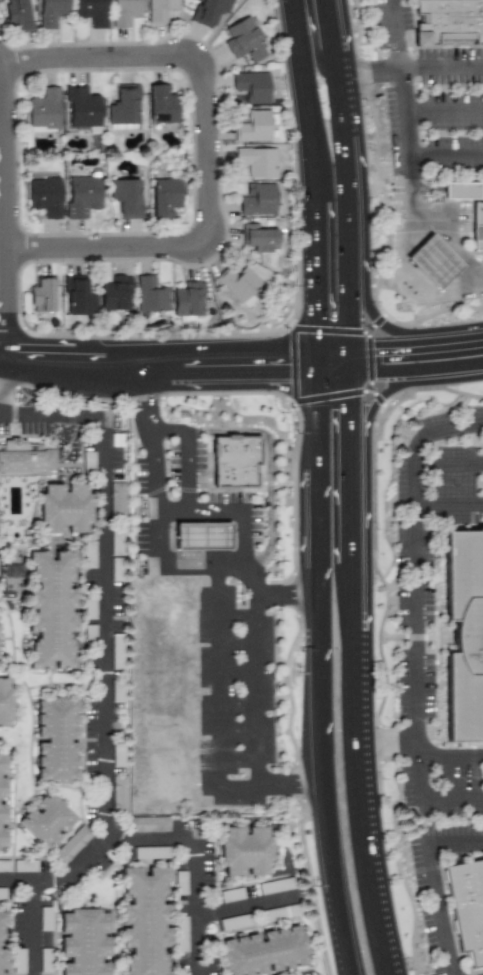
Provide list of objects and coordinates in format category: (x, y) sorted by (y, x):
street lamp: (275, 2)
building: (161, 9)
building: (209, 10)
building: (52, 12)
building: (92, 12)
building: (125, 12)
building: (17, 14)
building: (449, 20)
building: (245, 40)
street lamp: (77, 42)
road: (314, 48)
road: (400, 61)
road: (442, 68)
street lamp: (174, 73)
road: (1, 74)
building: (251, 85)
street lamp: (21, 91)
street lamp: (366, 102)
building: (161, 104)
building: (81, 107)
building: (124, 107)
building: (44, 109)
road: (445, 112)
building: (254, 125)
street lamp: (226, 145)
road: (209, 150)
road: (447, 156)
building: (256, 160)
street lamp: (292, 162)
road: (413, 189)
building: (464, 189)
road: (447, 191)
building: (84, 194)
building: (45, 195)
building: (126, 195)
building: (165, 196)
building: (258, 199)
road: (7, 210)
building: (478, 224)
road: (411, 229)
street lamp: (182, 231)
street lamp: (375, 234)
building: (262, 235)
road: (4, 249)
building: (434, 260)
road: (433, 262)
street lamp: (65, 264)
road: (415, 274)
building: (240, 283)
road: (464, 285)
building: (116, 293)
building: (150, 293)
building: (42, 294)
building: (77, 296)
road: (307, 296)
building: (188, 300)
road: (381, 314)
traffic signals: (307, 315)
street lamp: (442, 323)
street lamp: (288, 328)
street lamp: (370, 331)
street lamp: (139, 336)
road: (421, 347)
traffic signals: (380, 353)
traffic signals: (283, 363)
road: (180, 364)
road: (421, 371)
street lamp: (371, 389)
street lamp: (189, 398)
road: (386, 399)
street lamp: (23, 405)
street lamp: (77, 405)
traffic signals: (363, 407)
street lamp: (294, 408)
road: (1, 411)
road: (435, 430)
street lamp: (96, 437)
street lamp: (43, 440)
road: (189, 456)
building: (89, 460)
building: (29, 462)
building: (237, 463)
road: (271, 463)
road: (447, 464)
road: (413, 484)
road: (363, 488)
building: (118, 501)
building: (71, 508)
road: (227, 513)
road: (156, 514)
street lamp: (381, 531)
building: (205, 537)
gas station: (205, 537)
building: (89, 554)
building: (117, 555)
building: (13, 571)
road: (415, 589)
road: (282, 594)
building: (90, 606)
building: (57, 612)
building: (90, 633)
building: (1, 637)
building: (462, 637)
building: (118, 651)
road: (103, 662)
street lamp: (295, 674)
building: (118, 690)
building: (9, 704)
building: (63, 740)
road: (392, 745)
building: (118, 754)
road: (450, 755)
road: (284, 784)
road: (313, 785)
road: (239, 790)
road: (426, 791)
building: (120, 794)
building: (6, 803)
building: (52, 822)
building: (149, 823)
building: (72, 844)
building: (152, 852)
building: (245, 854)
building: (25, 864)
building: (4, 865)
road: (59, 875)
building: (180, 882)
road: (433, 882)
building: (277, 885)
street lamp: (316, 888)
building: (3, 892)
building: (232, 894)
road: (246, 905)
building: (468, 910)
building: (282, 911)
building: (46, 918)
building: (151, 922)
building: (235, 922)
road: (33, 926)
building: (181, 932)
building: (90, 943)
building: (5, 944)
building: (265, 954)
building: (46, 959)
building: (19, 961)
building: (288, 974)

